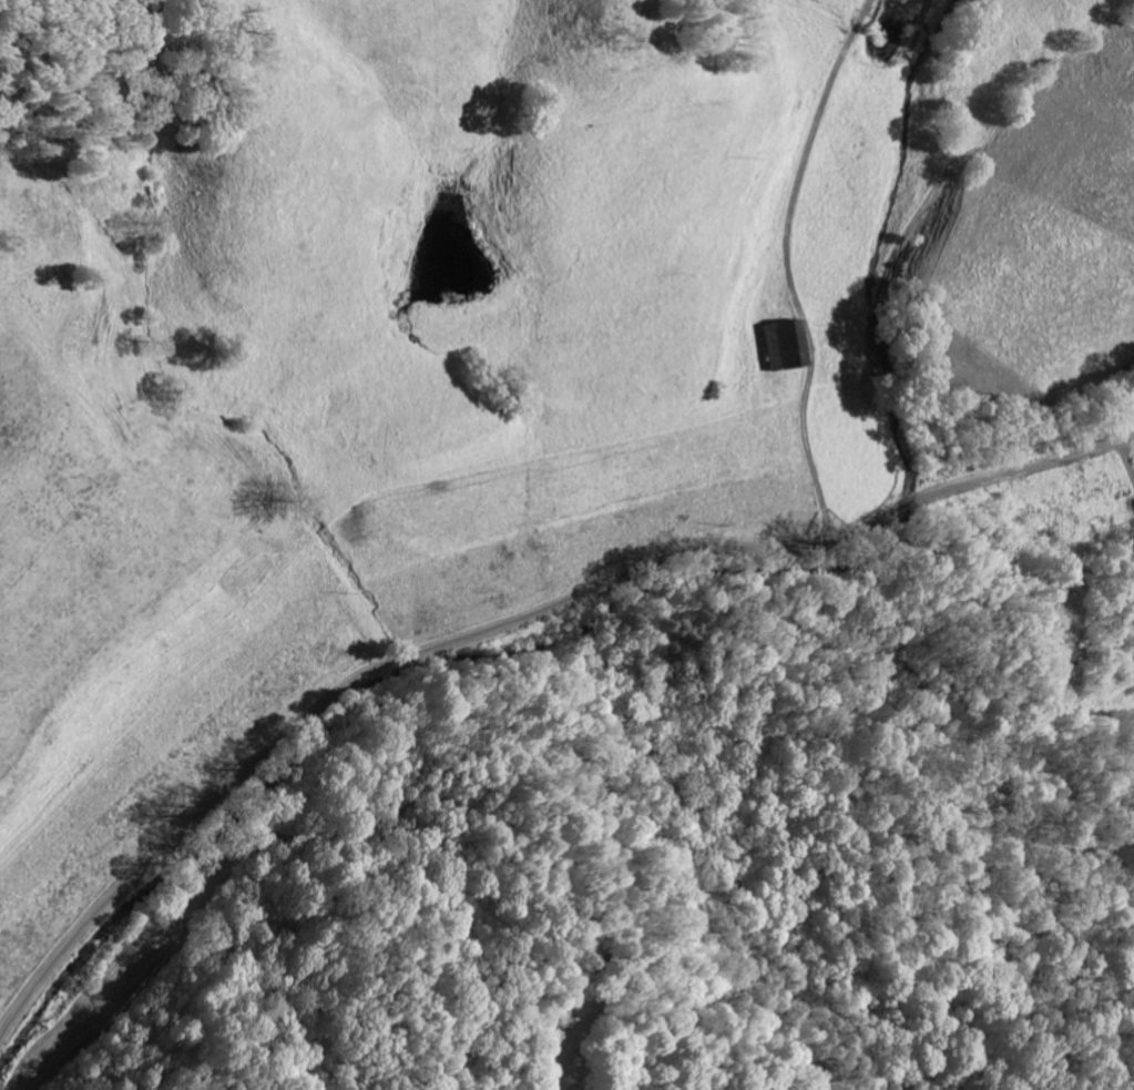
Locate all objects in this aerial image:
road: (879, 33)
road: (1056, 200)
building: (777, 344)
road: (502, 624)

